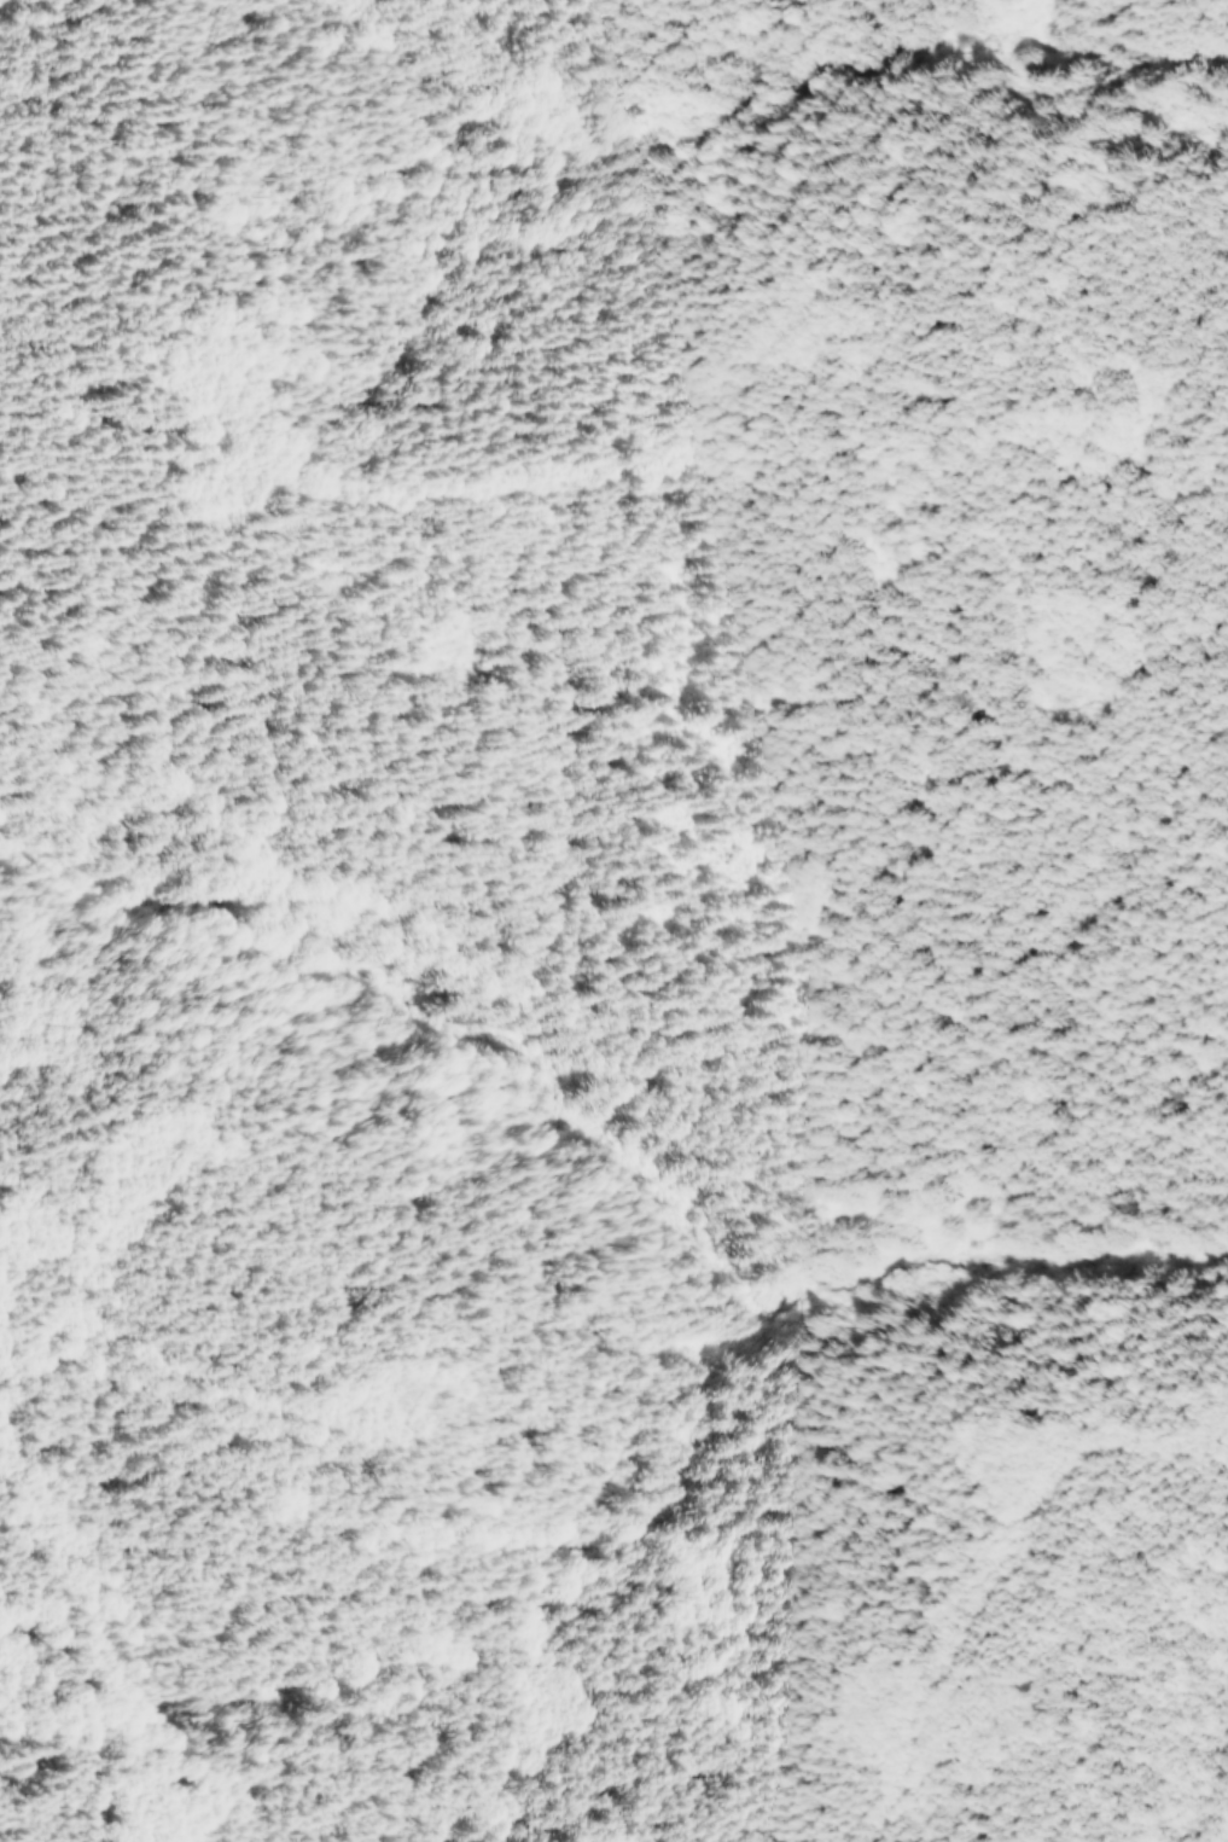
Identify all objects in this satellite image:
road: (43, 1579)

